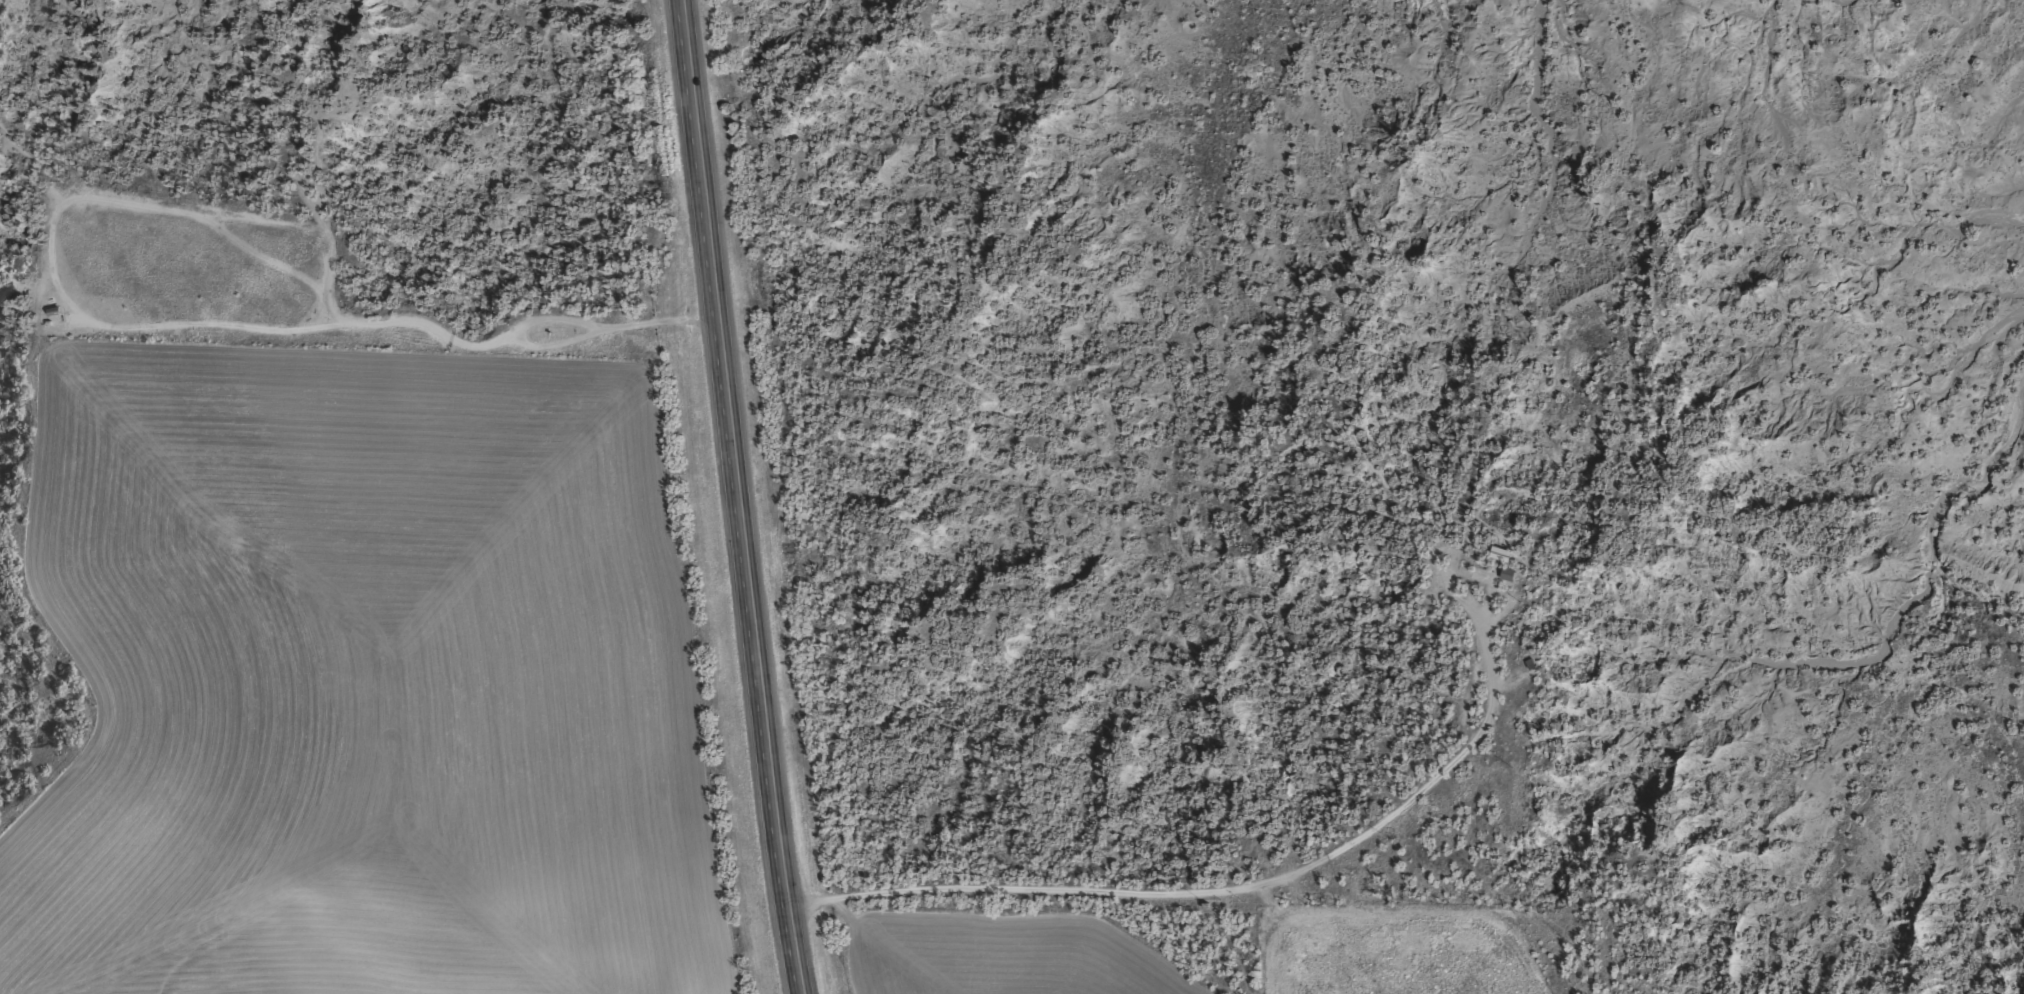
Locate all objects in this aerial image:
road: (734, 497)
building: (1496, 554)

